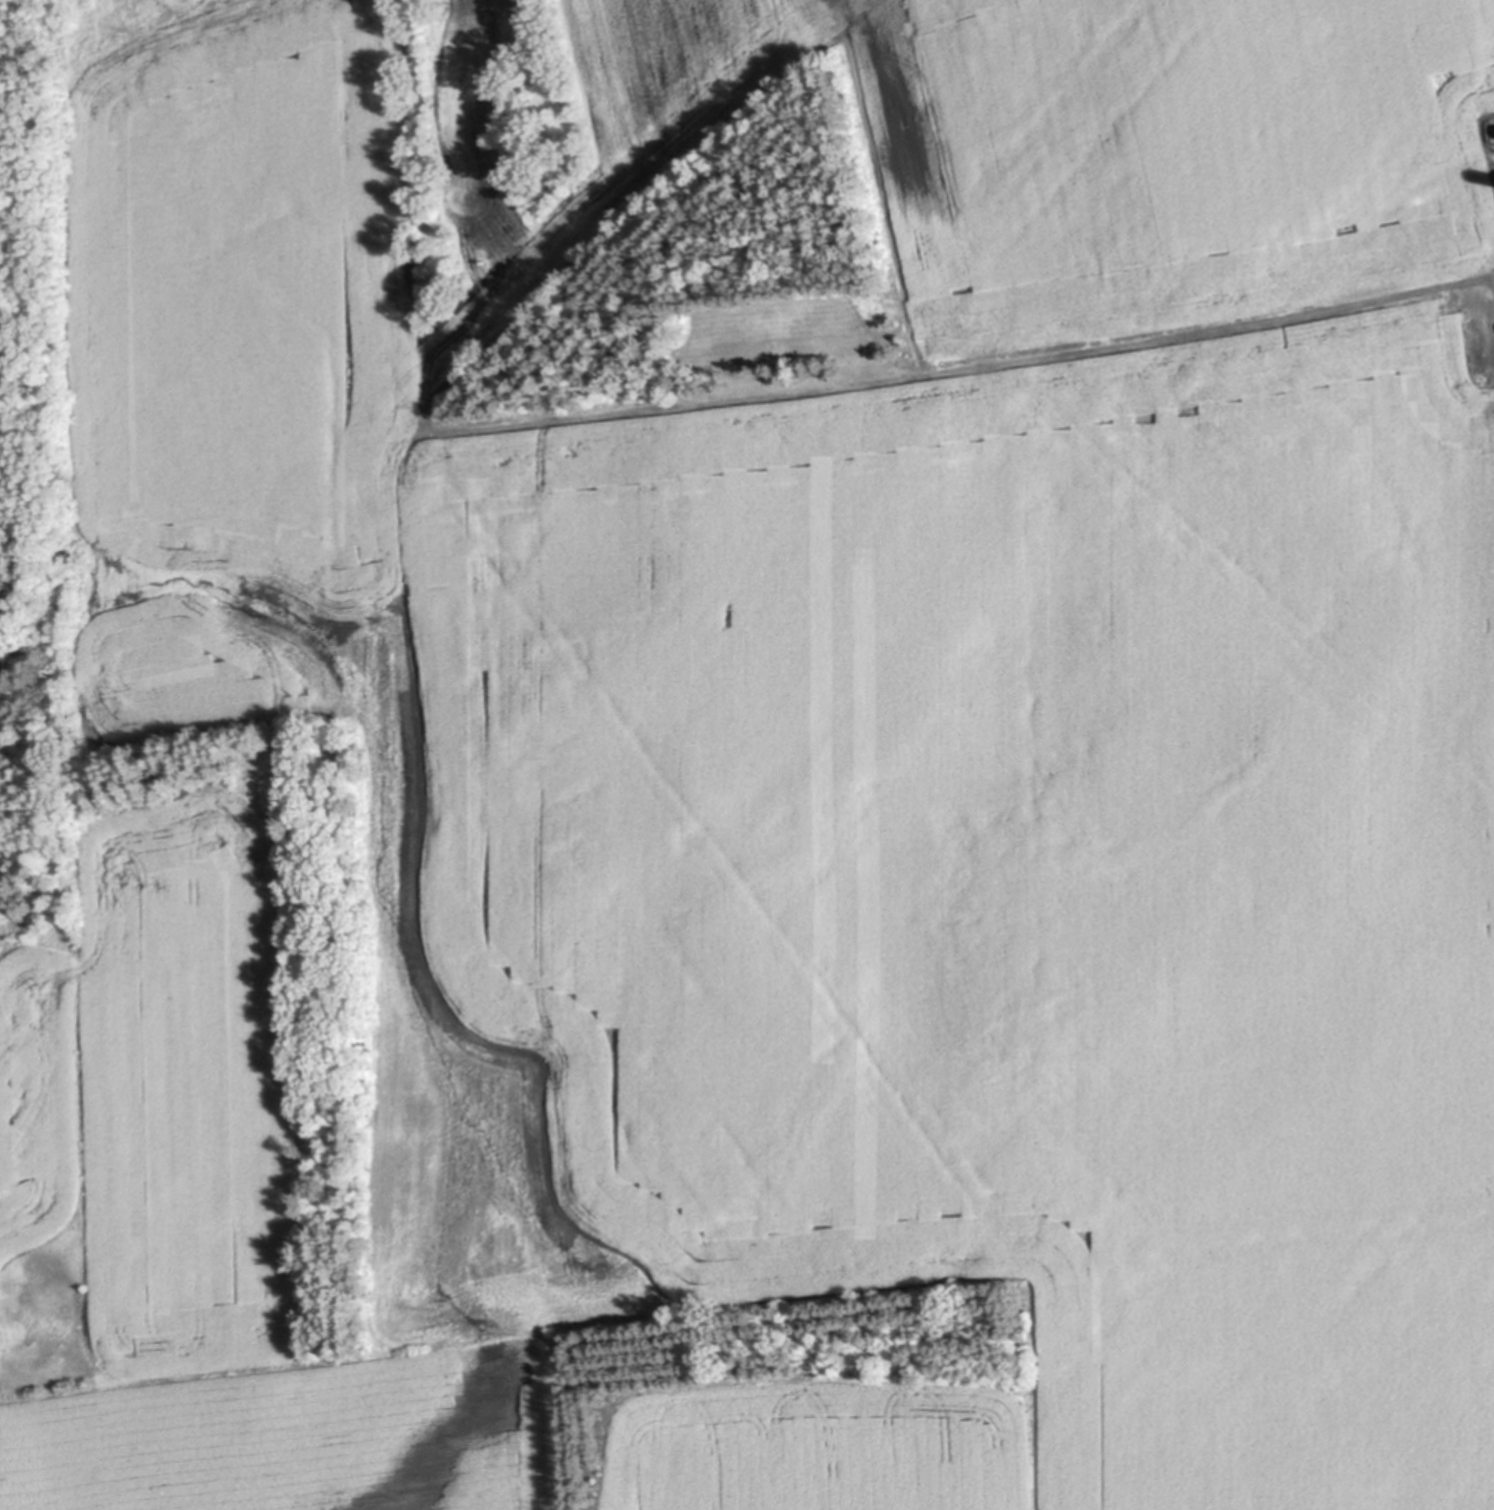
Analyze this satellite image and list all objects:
building: (799, 355)
river: (4, 568)

